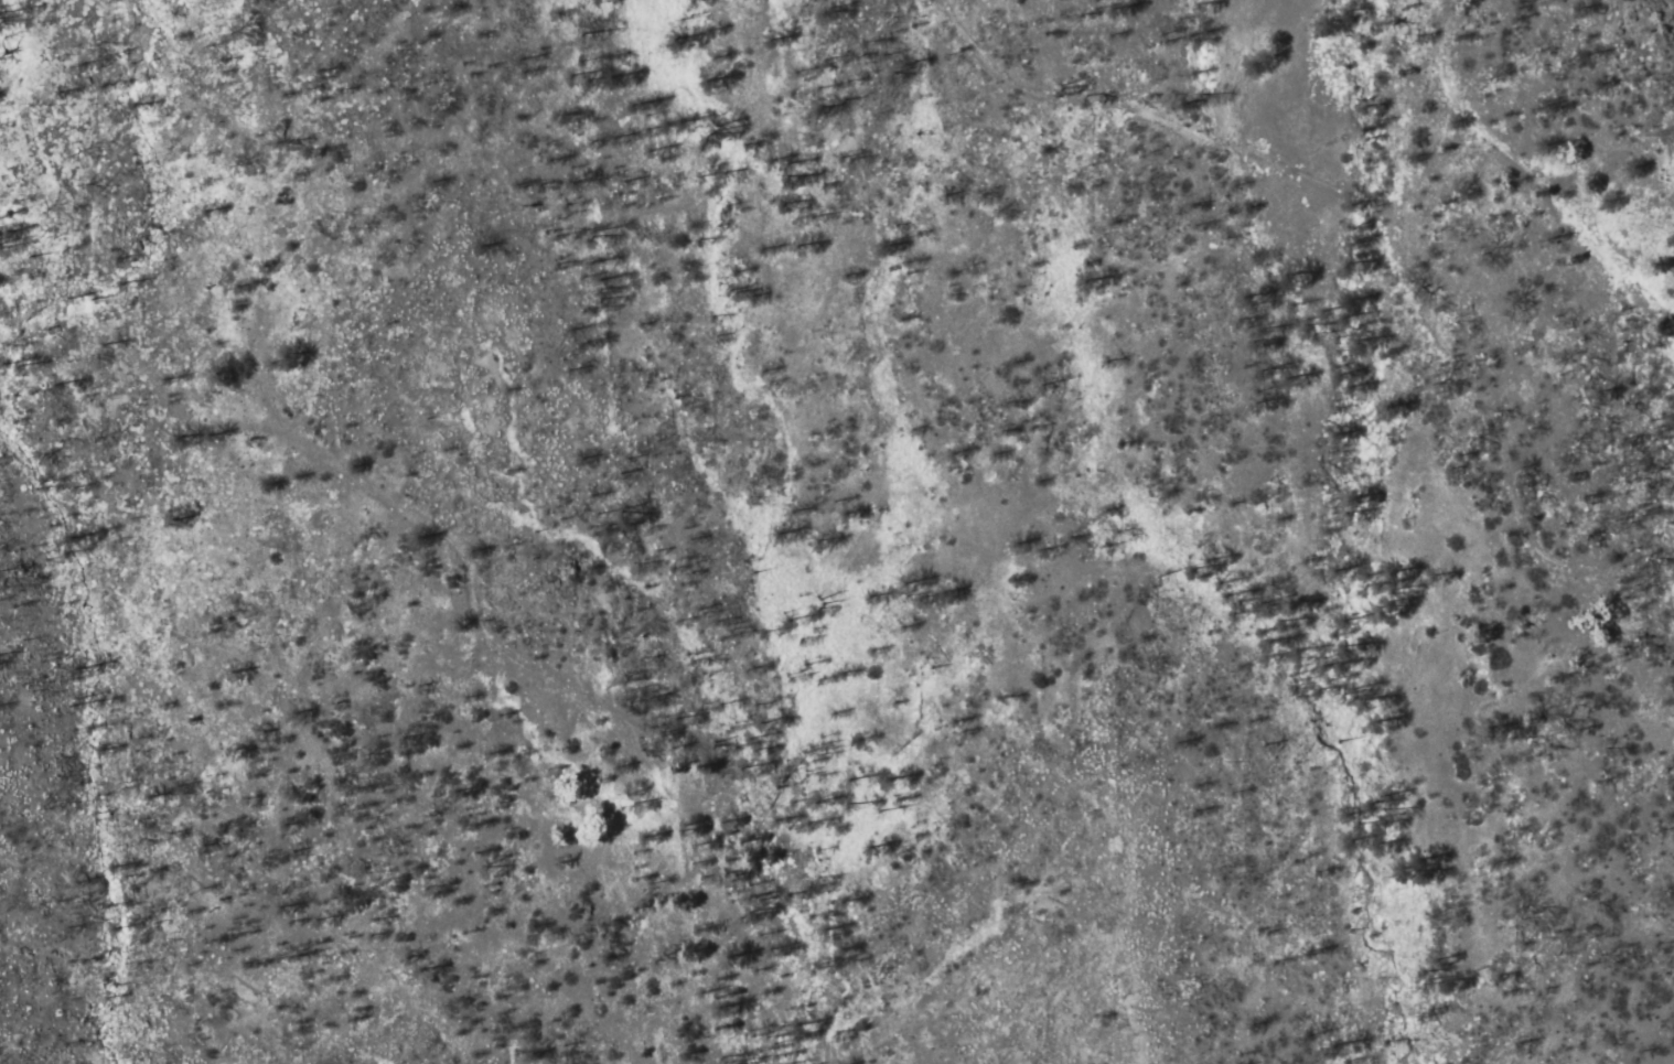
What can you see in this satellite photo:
road: (1442, 42)
road: (1562, 214)
road: (1370, 216)
road: (356, 536)

